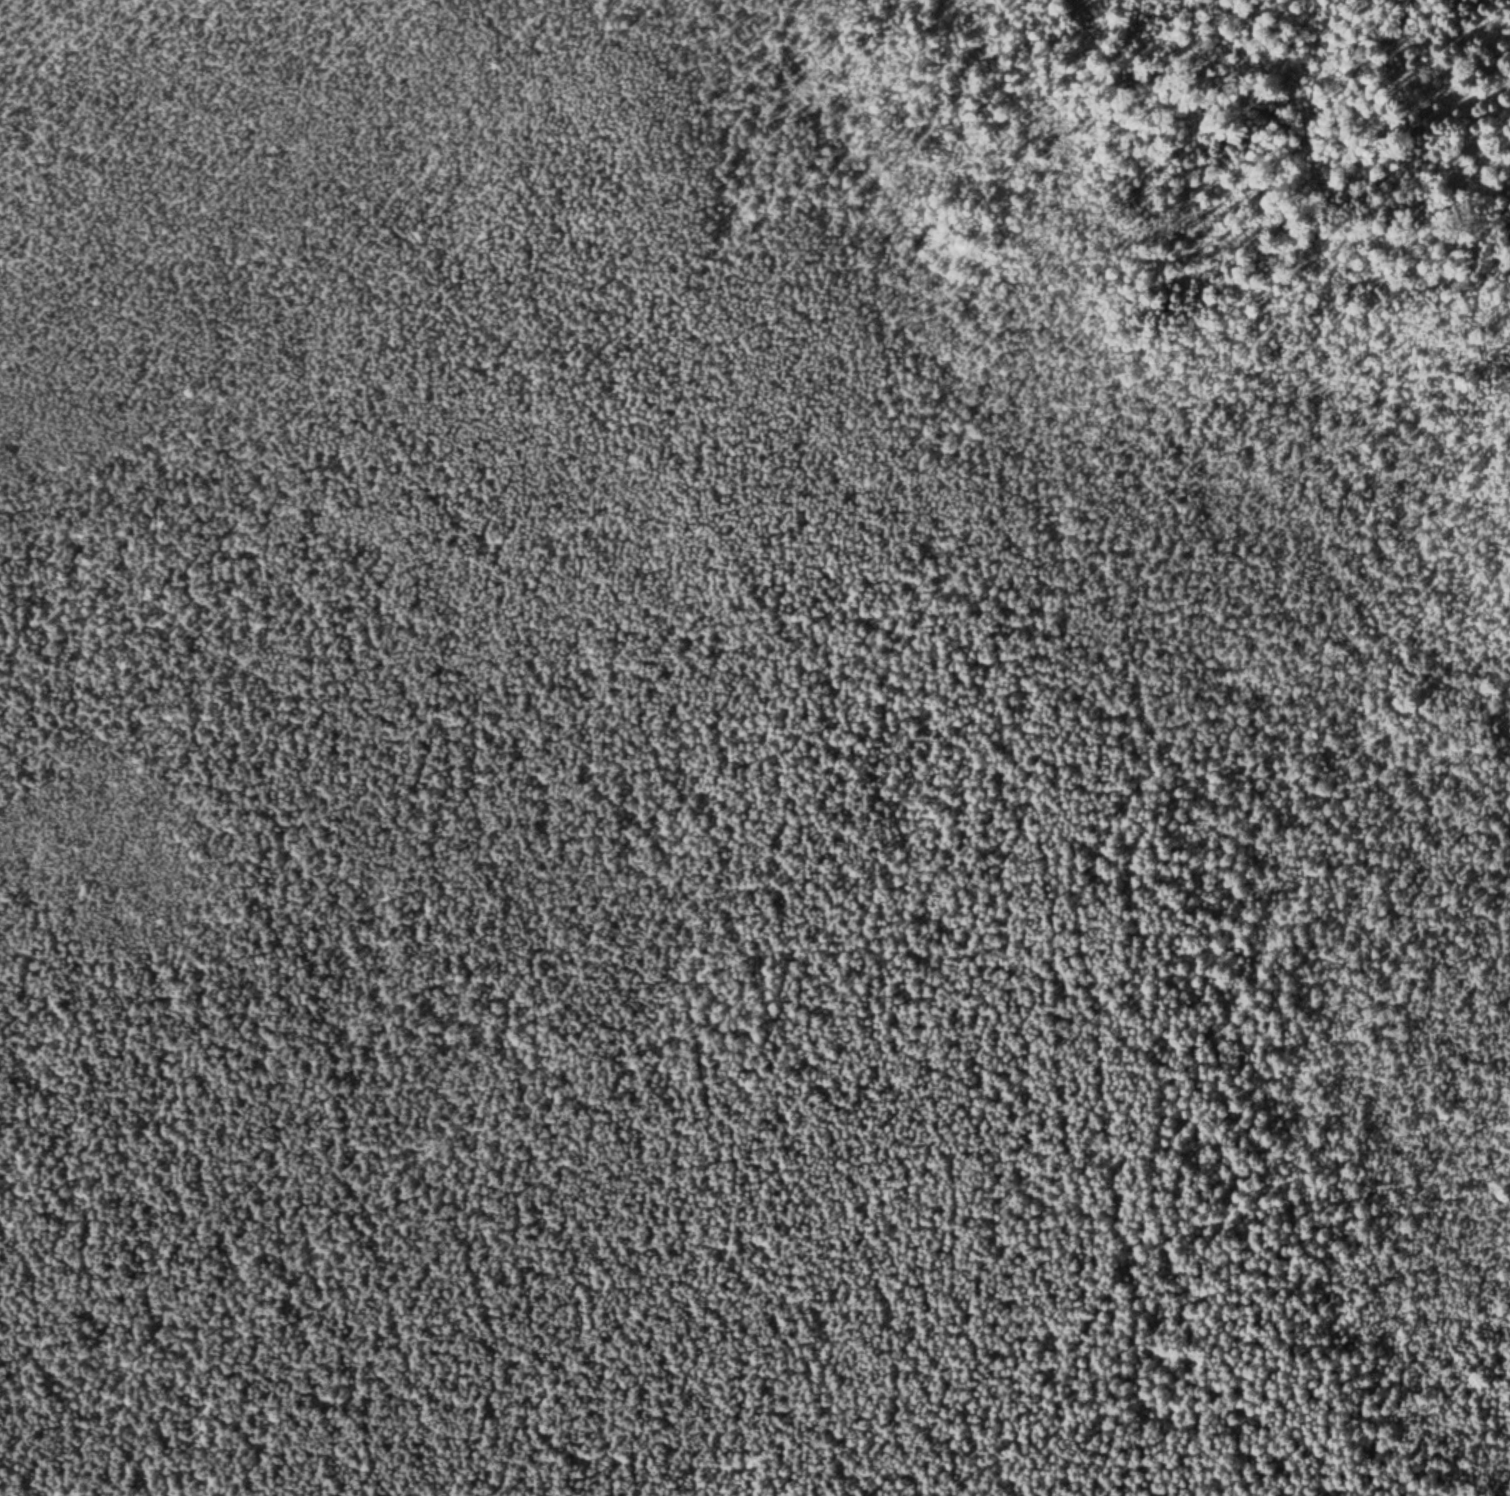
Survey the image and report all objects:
road: (1328, 165)

